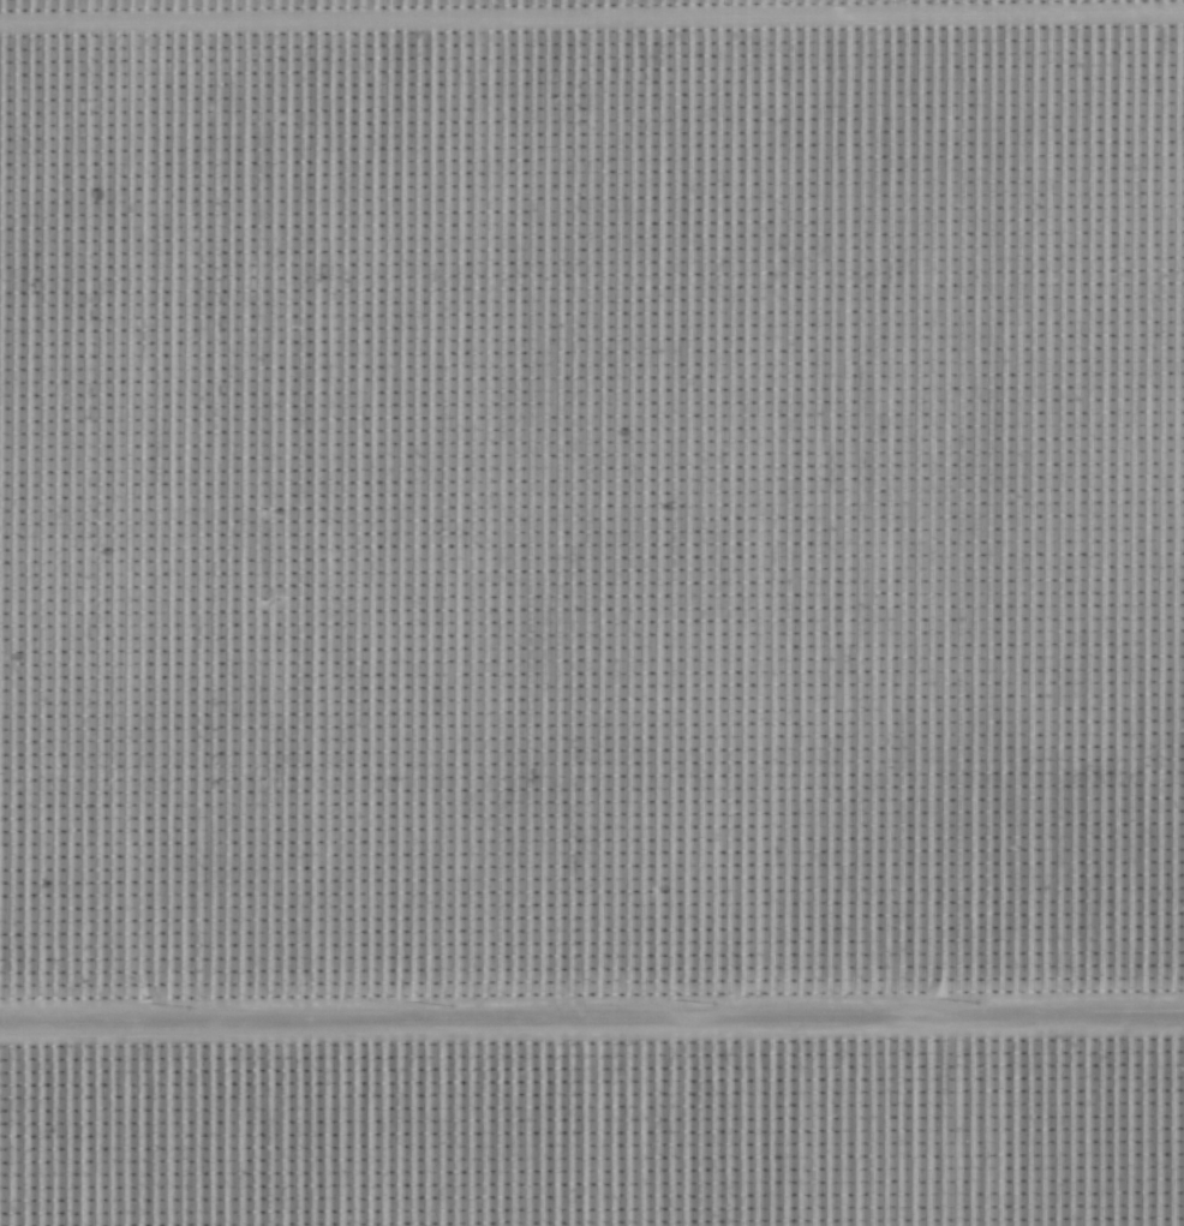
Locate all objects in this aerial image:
road: (592, 1025)

